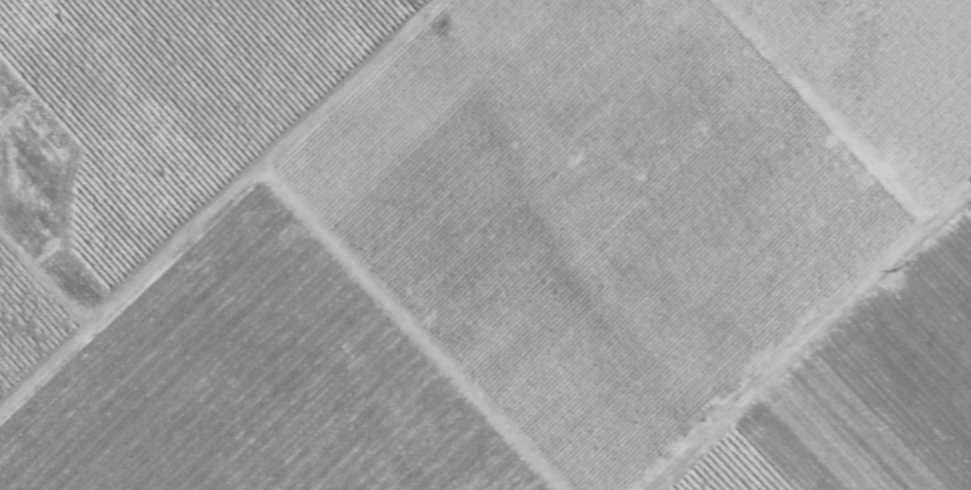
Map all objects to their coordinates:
building: (968, 179)

